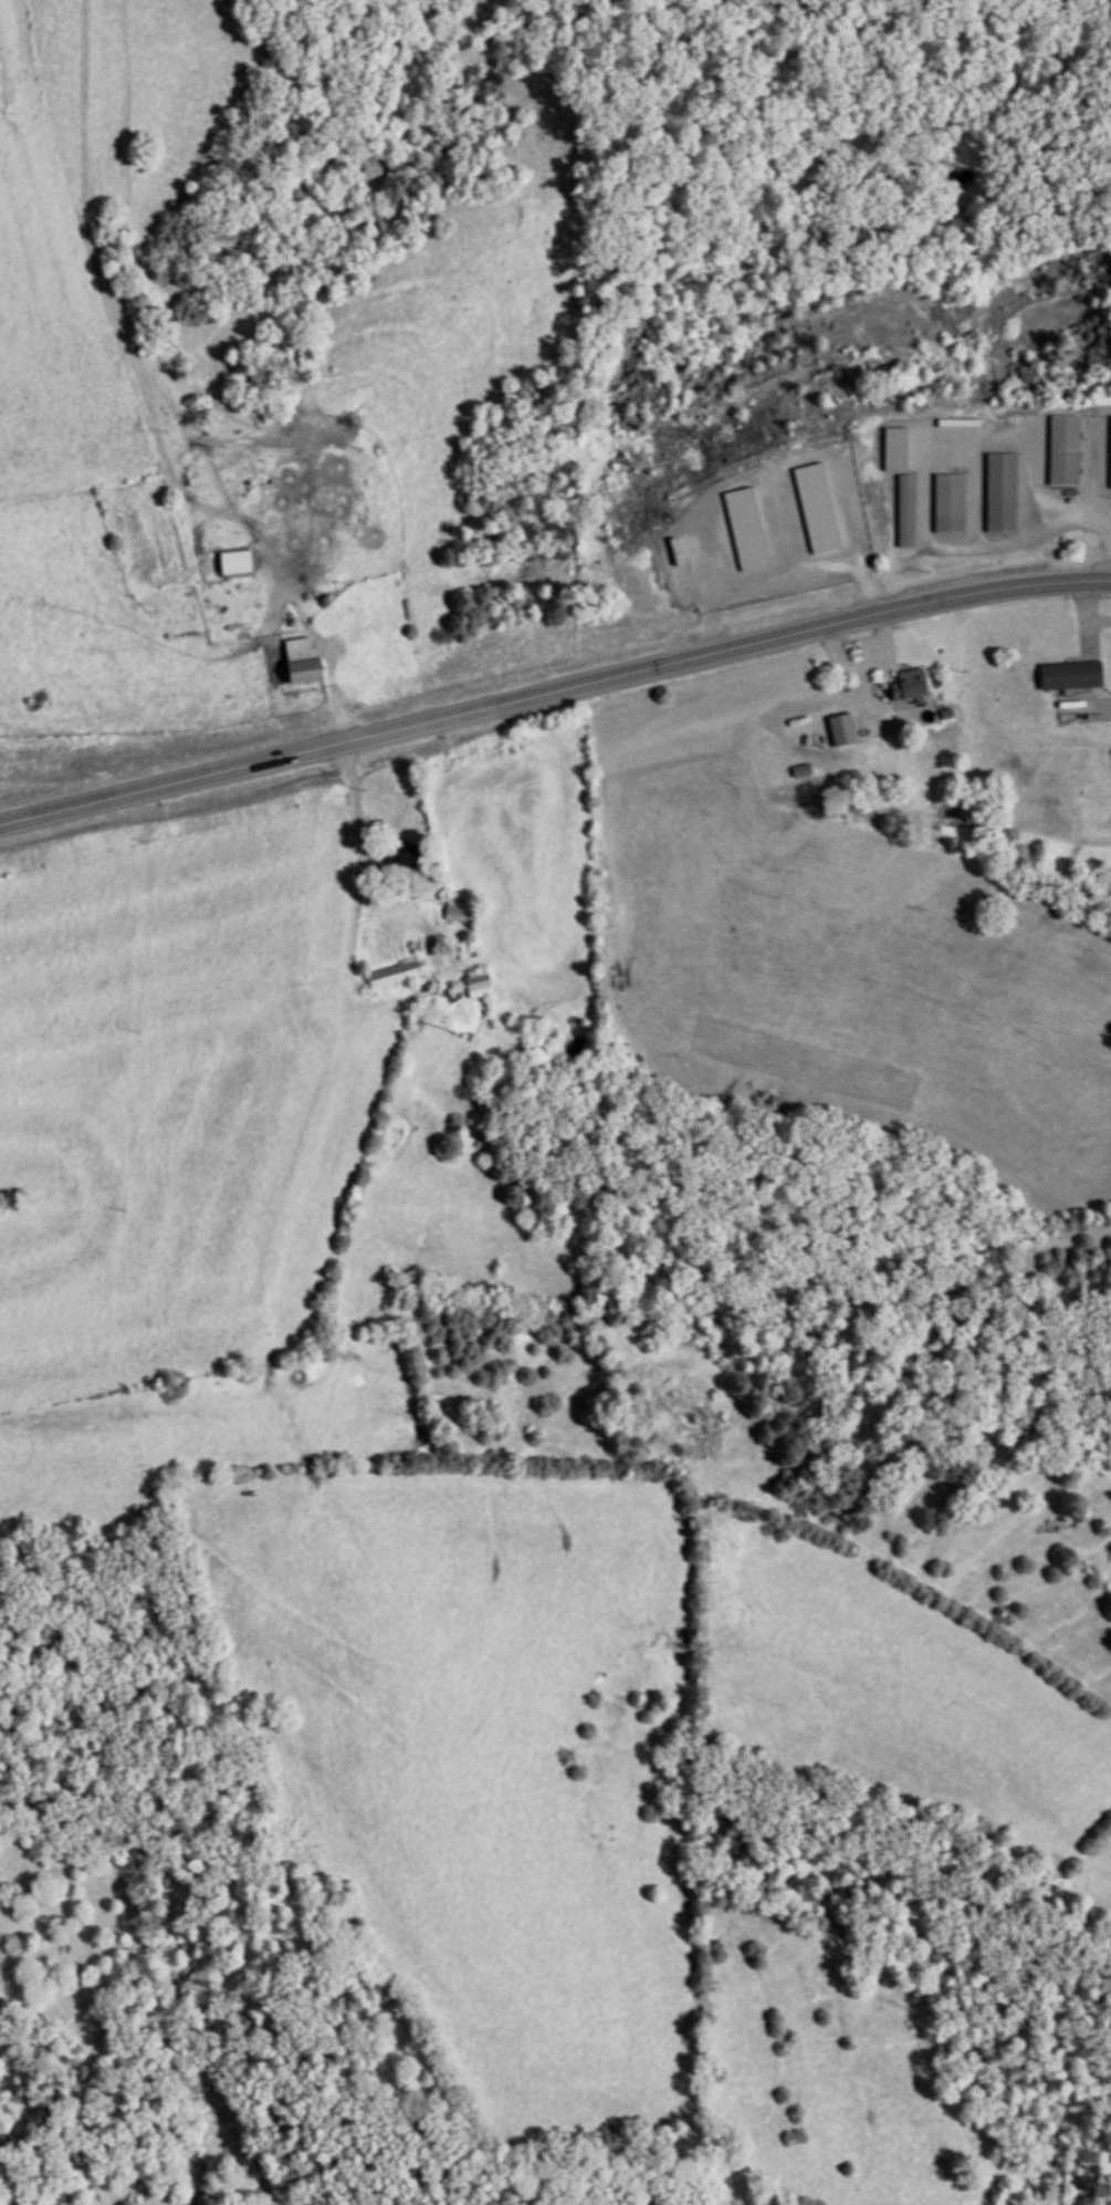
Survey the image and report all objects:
building: (1061, 450)
building: (1109, 451)
building: (998, 492)
building: (946, 503)
building: (903, 510)
building: (232, 562)
building: (296, 662)
building: (1065, 675)
road: (553, 686)
building: (902, 686)
building: (335, 705)
building: (838, 728)
building: (797, 770)
building: (397, 862)
building: (457, 911)
building: (389, 974)
building: (474, 985)

